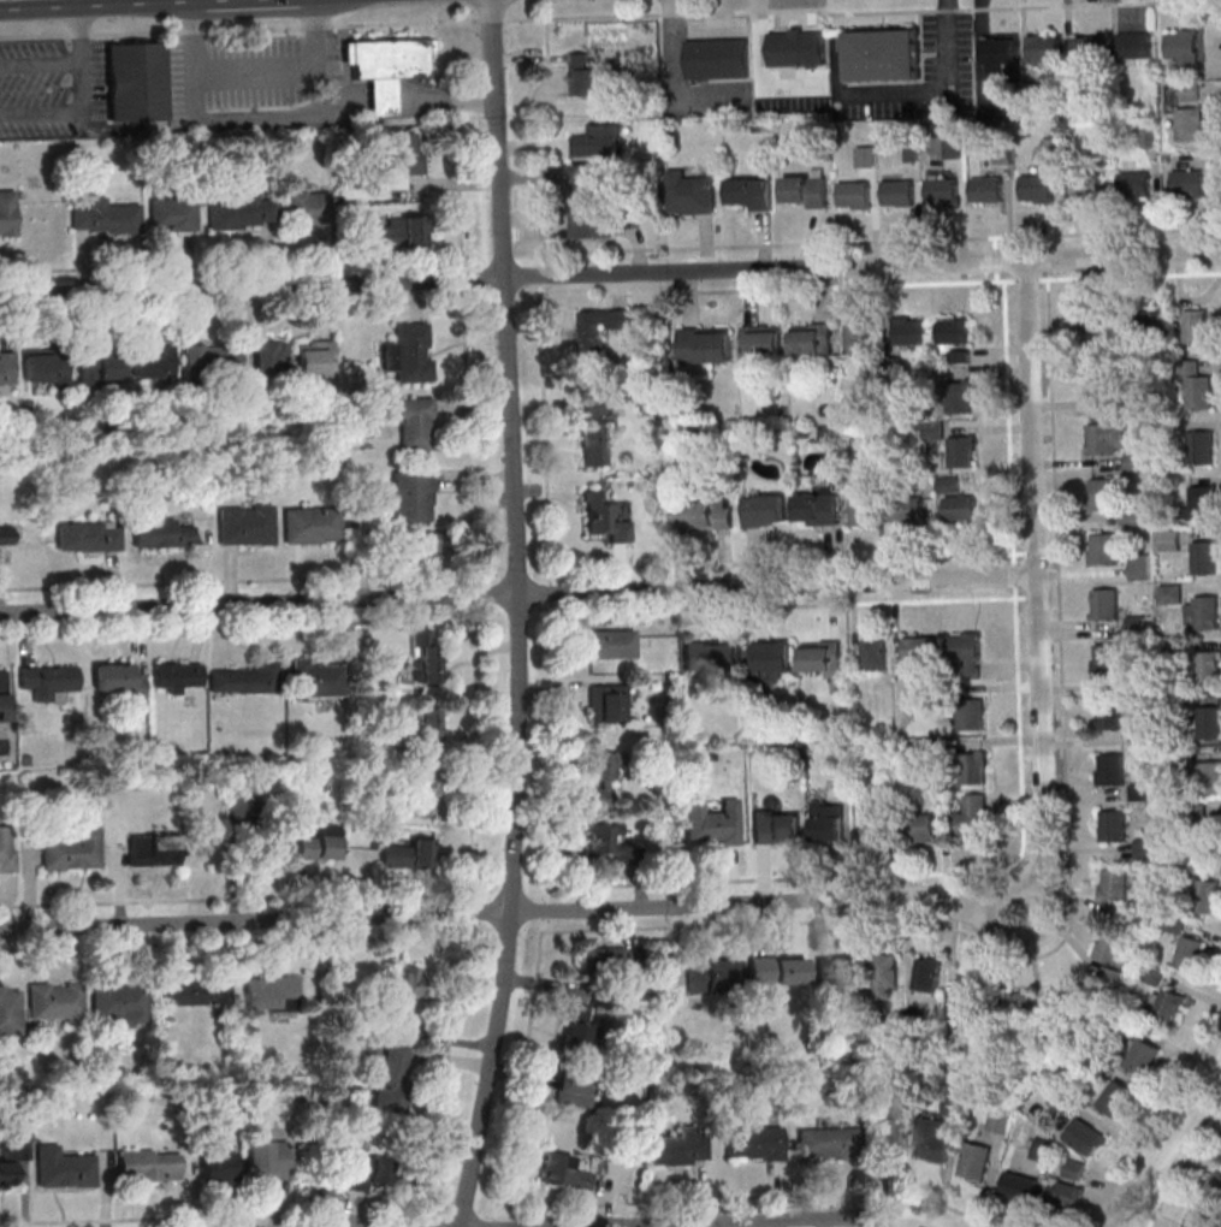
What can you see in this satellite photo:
road: (849, 12)
road: (494, 20)
road: (241, 29)
building: (1134, 46)
building: (1087, 47)
building: (1186, 47)
building: (796, 48)
building: (1044, 48)
building: (884, 55)
building: (391, 59)
building: (717, 59)
building: (996, 59)
road: (42, 66)
building: (582, 73)
road: (257, 75)
building: (137, 82)
road: (85, 99)
building: (1190, 124)
building: (597, 140)
building: (865, 155)
building: (401, 161)
building: (589, 174)
building: (1190, 182)
building: (1136, 184)
building: (1084, 185)
building: (986, 188)
building: (1036, 188)
building: (805, 189)
building: (942, 190)
building: (899, 191)
building: (689, 192)
building: (749, 192)
building: (854, 194)
building: (310, 208)
building: (7, 212)
building: (244, 212)
building: (173, 214)
building: (106, 217)
building: (593, 225)
building: (404, 231)
road: (1033, 259)
road: (411, 281)
building: (1151, 324)
building: (1196, 325)
building: (1095, 327)
building: (953, 328)
building: (598, 330)
building: (909, 330)
building: (863, 336)
building: (811, 339)
building: (761, 340)
building: (705, 344)
building: (409, 354)
building: (316, 357)
building: (271, 358)
building: (153, 361)
building: (212, 362)
building: (100, 366)
building: (46, 367)
building: (6, 368)
building: (1100, 378)
building: (1196, 386)
building: (960, 396)
building: (409, 420)
building: (597, 431)
building: (1114, 443)
building: (1201, 446)
building: (962, 451)
road: (470, 454)
road: (515, 456)
building: (1102, 494)
building: (413, 496)
building: (1202, 503)
building: (960, 505)
building: (861, 508)
building: (817, 509)
building: (908, 509)
building: (765, 510)
building: (706, 514)
building: (605, 517)
building: (247, 524)
building: (309, 524)
building: (161, 532)
building: (5, 535)
building: (88, 535)
building: (1170, 539)
building: (427, 549)
building: (1103, 549)
building: (1205, 556)
road: (794, 559)
building: (1139, 567)
road: (1037, 570)
road: (1006, 576)
road: (914, 580)
road: (417, 598)
road: (795, 604)
building: (1104, 604)
building: (1207, 611)
road: (553, 616)
building: (612, 644)
building: (919, 648)
building: (966, 651)
building: (873, 653)
building: (425, 656)
building: (713, 656)
building: (822, 658)
building: (1107, 659)
building: (770, 660)
building: (1208, 666)
building: (178, 677)
building: (247, 678)
building: (318, 678)
building: (47, 681)
building: (117, 681)
building: (606, 703)
building: (970, 713)
building: (1110, 715)
building: (1209, 721)
building: (429, 725)
building: (974, 766)
building: (1112, 767)
building: (1211, 776)
building: (600, 778)
building: (423, 790)
road: (1021, 796)
building: (972, 816)
building: (828, 820)
building: (713, 823)
building: (873, 824)
building: (1113, 824)
building: (777, 826)
building: (918, 826)
building: (1208, 834)
building: (606, 843)
building: (259, 844)
building: (320, 844)
building: (1145, 848)
building: (6, 849)
building: (72, 849)
building: (154, 850)
building: (409, 854)
road: (1067, 867)
building: (1114, 883)
road: (996, 894)
road: (1043, 895)
building: (1207, 895)
road: (233, 897)
road: (909, 899)
road: (425, 915)
road: (1001, 932)
road: (232, 941)
building: (1108, 947)
building: (1190, 953)
building: (611, 960)
building: (778, 970)
building: (713, 973)
building: (832, 973)
building: (926, 973)
building: (884, 977)
building: (189, 991)
building: (408, 991)
building: (271, 992)
building: (967, 994)
building: (1068, 994)
building: (55, 1001)
building: (119, 1001)
building: (1015, 1003)
building: (1166, 1004)
building: (10, 1009)
building: (577, 1025)
building: (1142, 1056)
road: (446, 1059)
road: (488, 1069)
building: (392, 1077)
road: (1214, 1085)
building: (575, 1090)
building: (1116, 1097)
building: (953, 1104)
road: (1158, 1115)
building: (998, 1120)
building: (1085, 1136)
building: (891, 1138)
building: (933, 1139)
road: (1173, 1140)
building: (754, 1143)
building: (826, 1143)
building: (677, 1149)
building: (1042, 1149)
building: (266, 1158)
building: (11, 1161)
building: (976, 1161)
building: (217, 1162)
building: (149, 1164)
road: (1178, 1164)
building: (63, 1168)
building: (1074, 1168)
building: (368, 1172)
building: (564, 1172)
building: (1215, 1185)
building: (1019, 1186)
building: (1066, 1193)
road: (752, 1195)
road: (208, 1215)
road: (906, 1220)
building: (1201, 1220)
road: (694, 1222)

